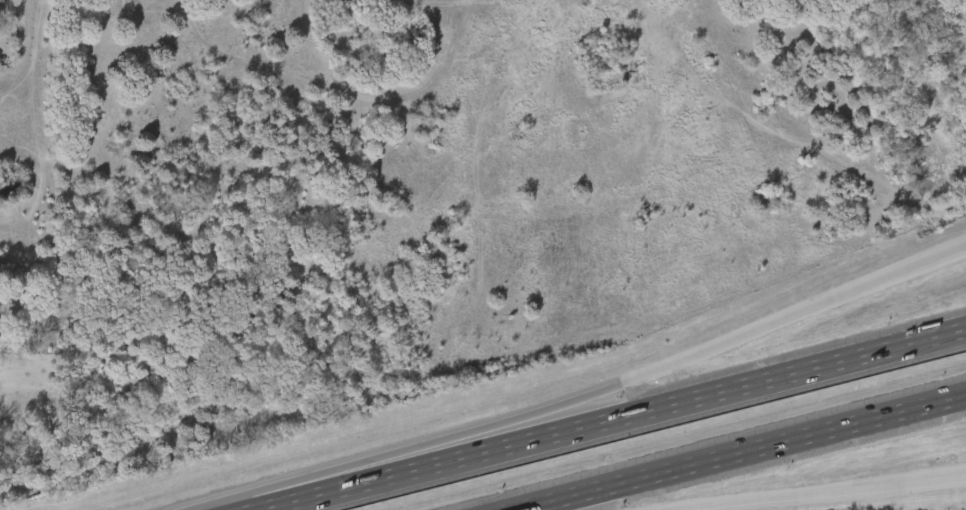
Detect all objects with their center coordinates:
building: (23, 341)
building: (9, 351)
road: (585, 395)
road: (610, 419)
road: (739, 452)
road: (813, 493)

